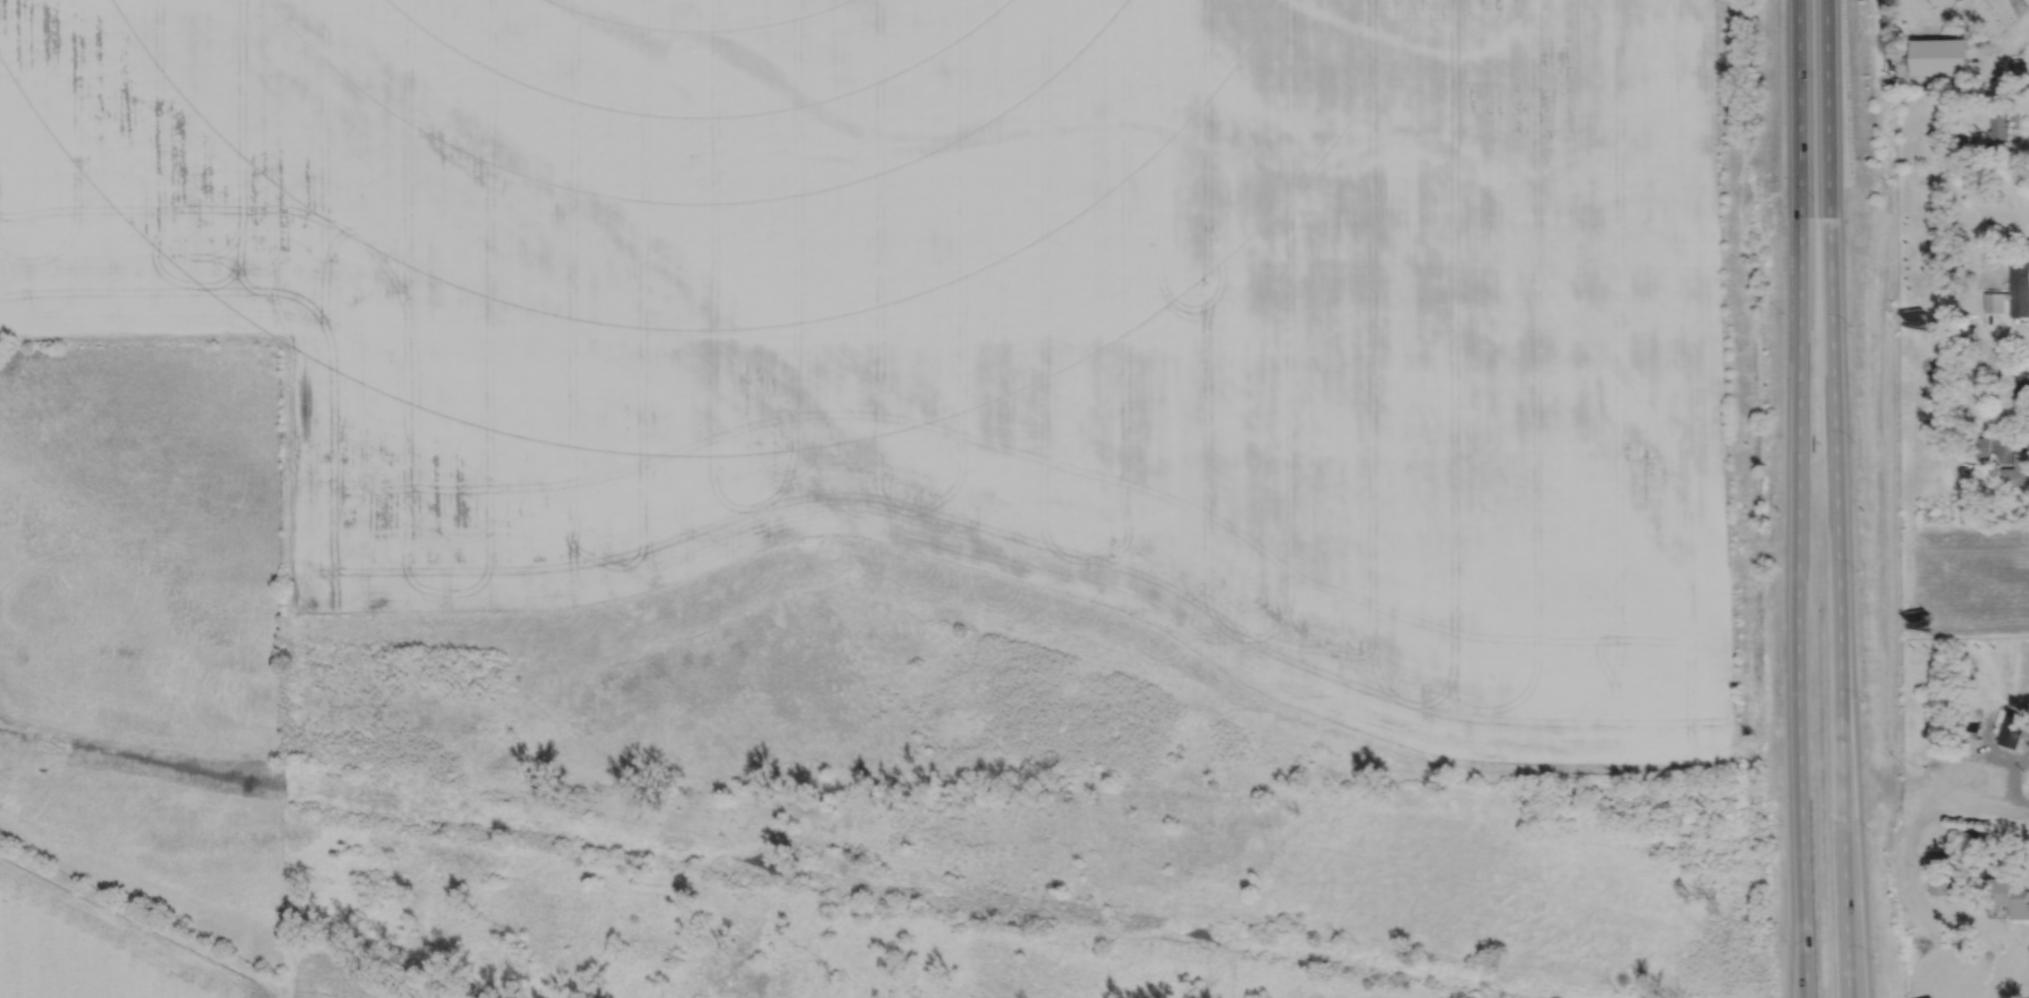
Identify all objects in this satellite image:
road: (2021, 8)
road: (1986, 45)
building: (1921, 67)
building: (1999, 125)
building: (1962, 144)
road: (2001, 145)
building: (2019, 290)
crop: (959, 310)
building: (1965, 333)
building: (2021, 383)
building: (1979, 445)
building: (2014, 470)
road: (1799, 499)
road: (1837, 499)
building: (1963, 505)
building: (1969, 534)
building: (2018, 726)
building: (1968, 730)
building: (1945, 885)
building: (2009, 897)
road: (1857, 907)
crop: (138, 955)
road: (1800, 971)

